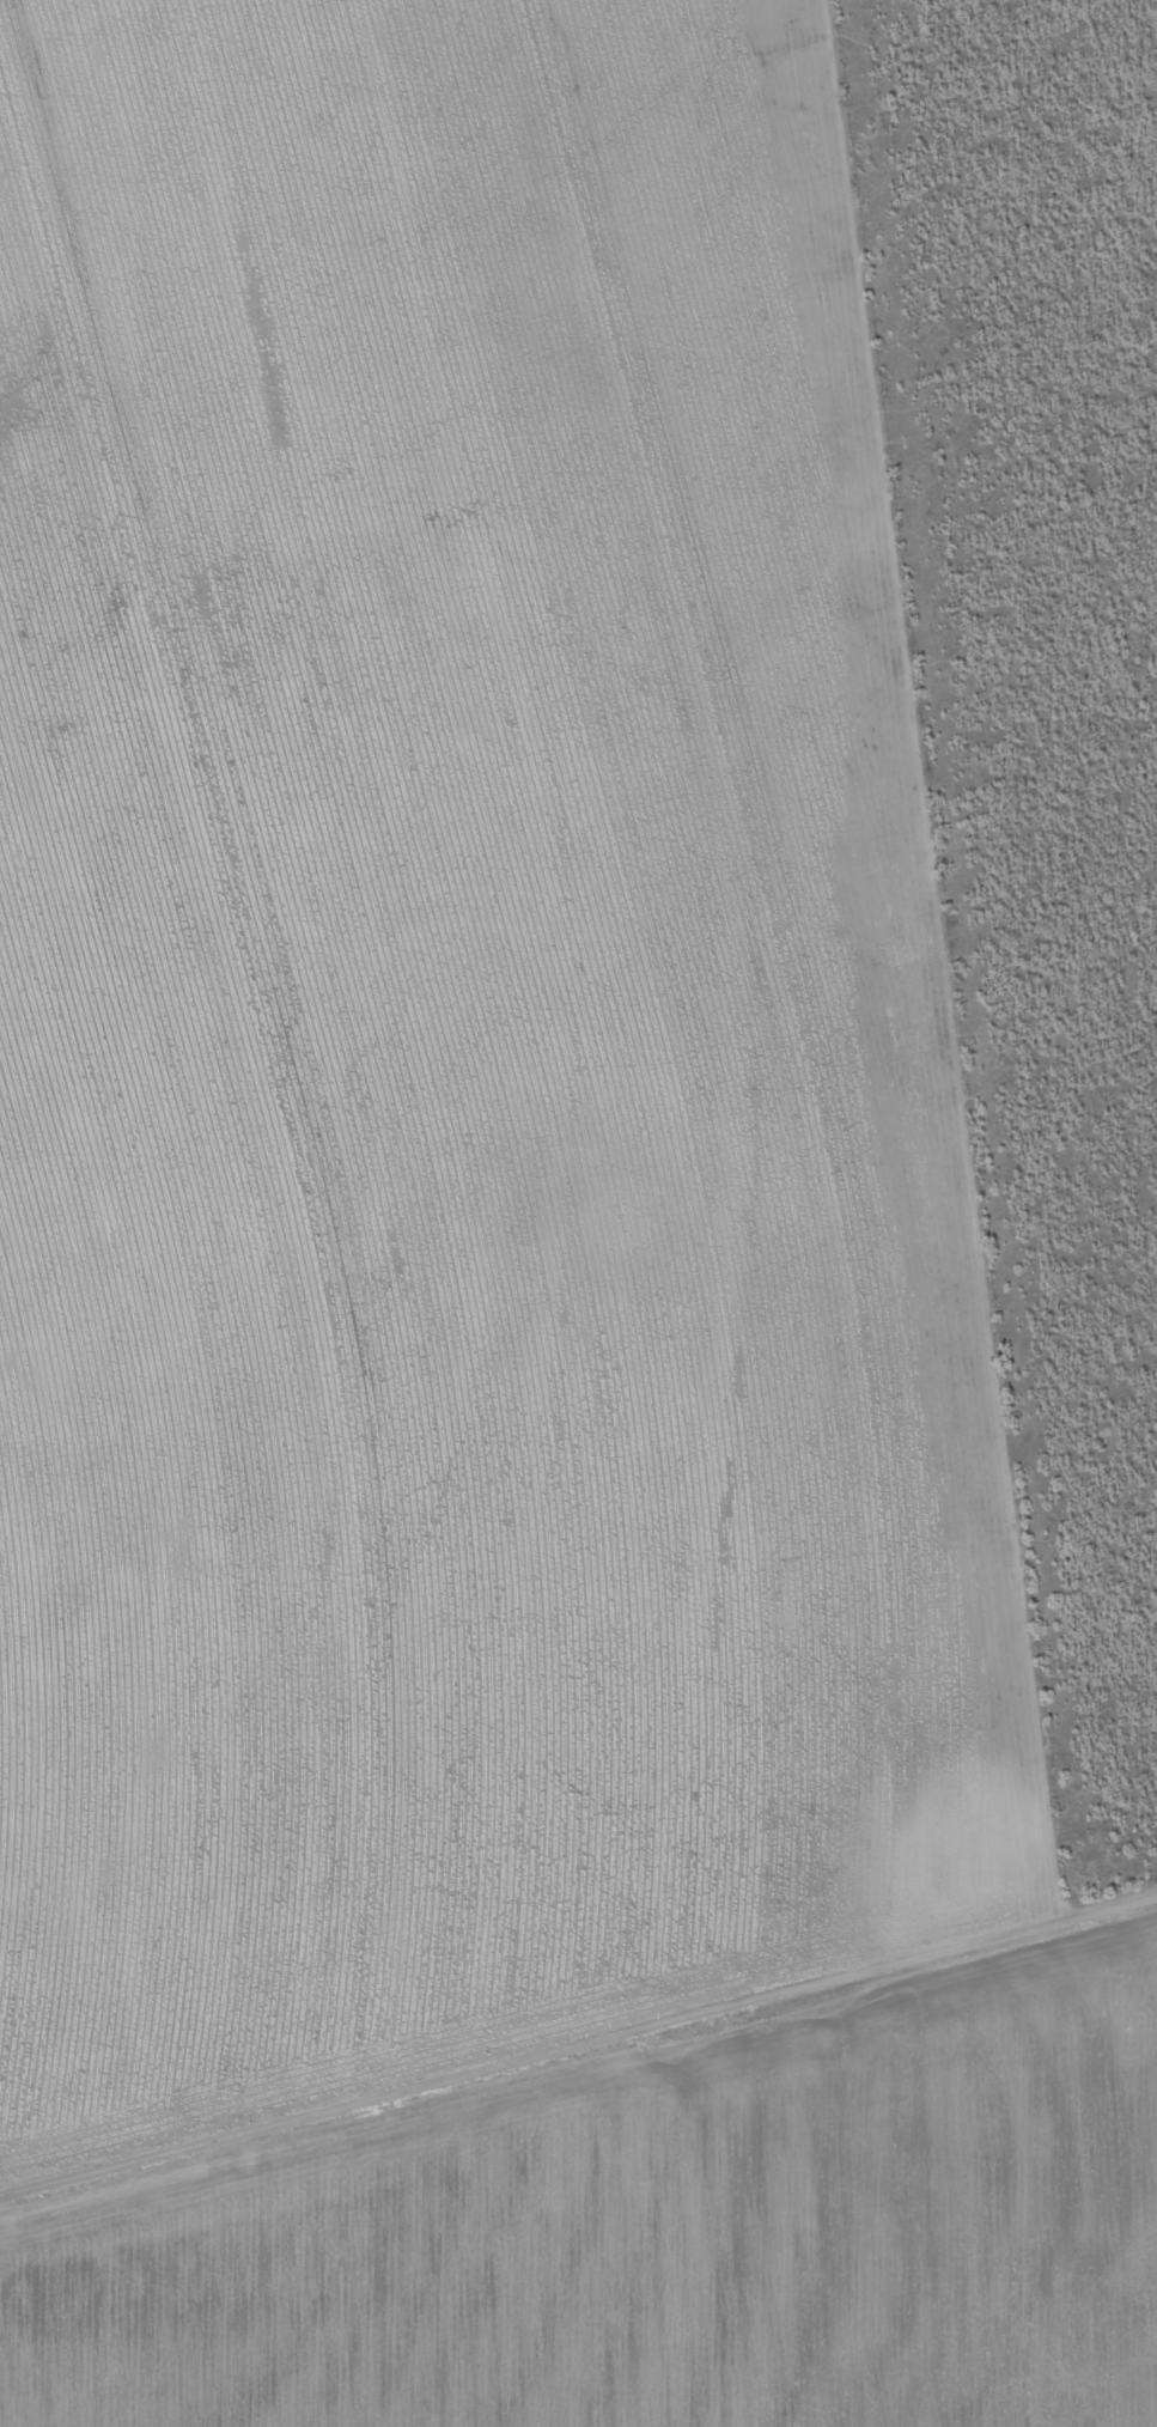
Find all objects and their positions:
road: (578, 2055)

